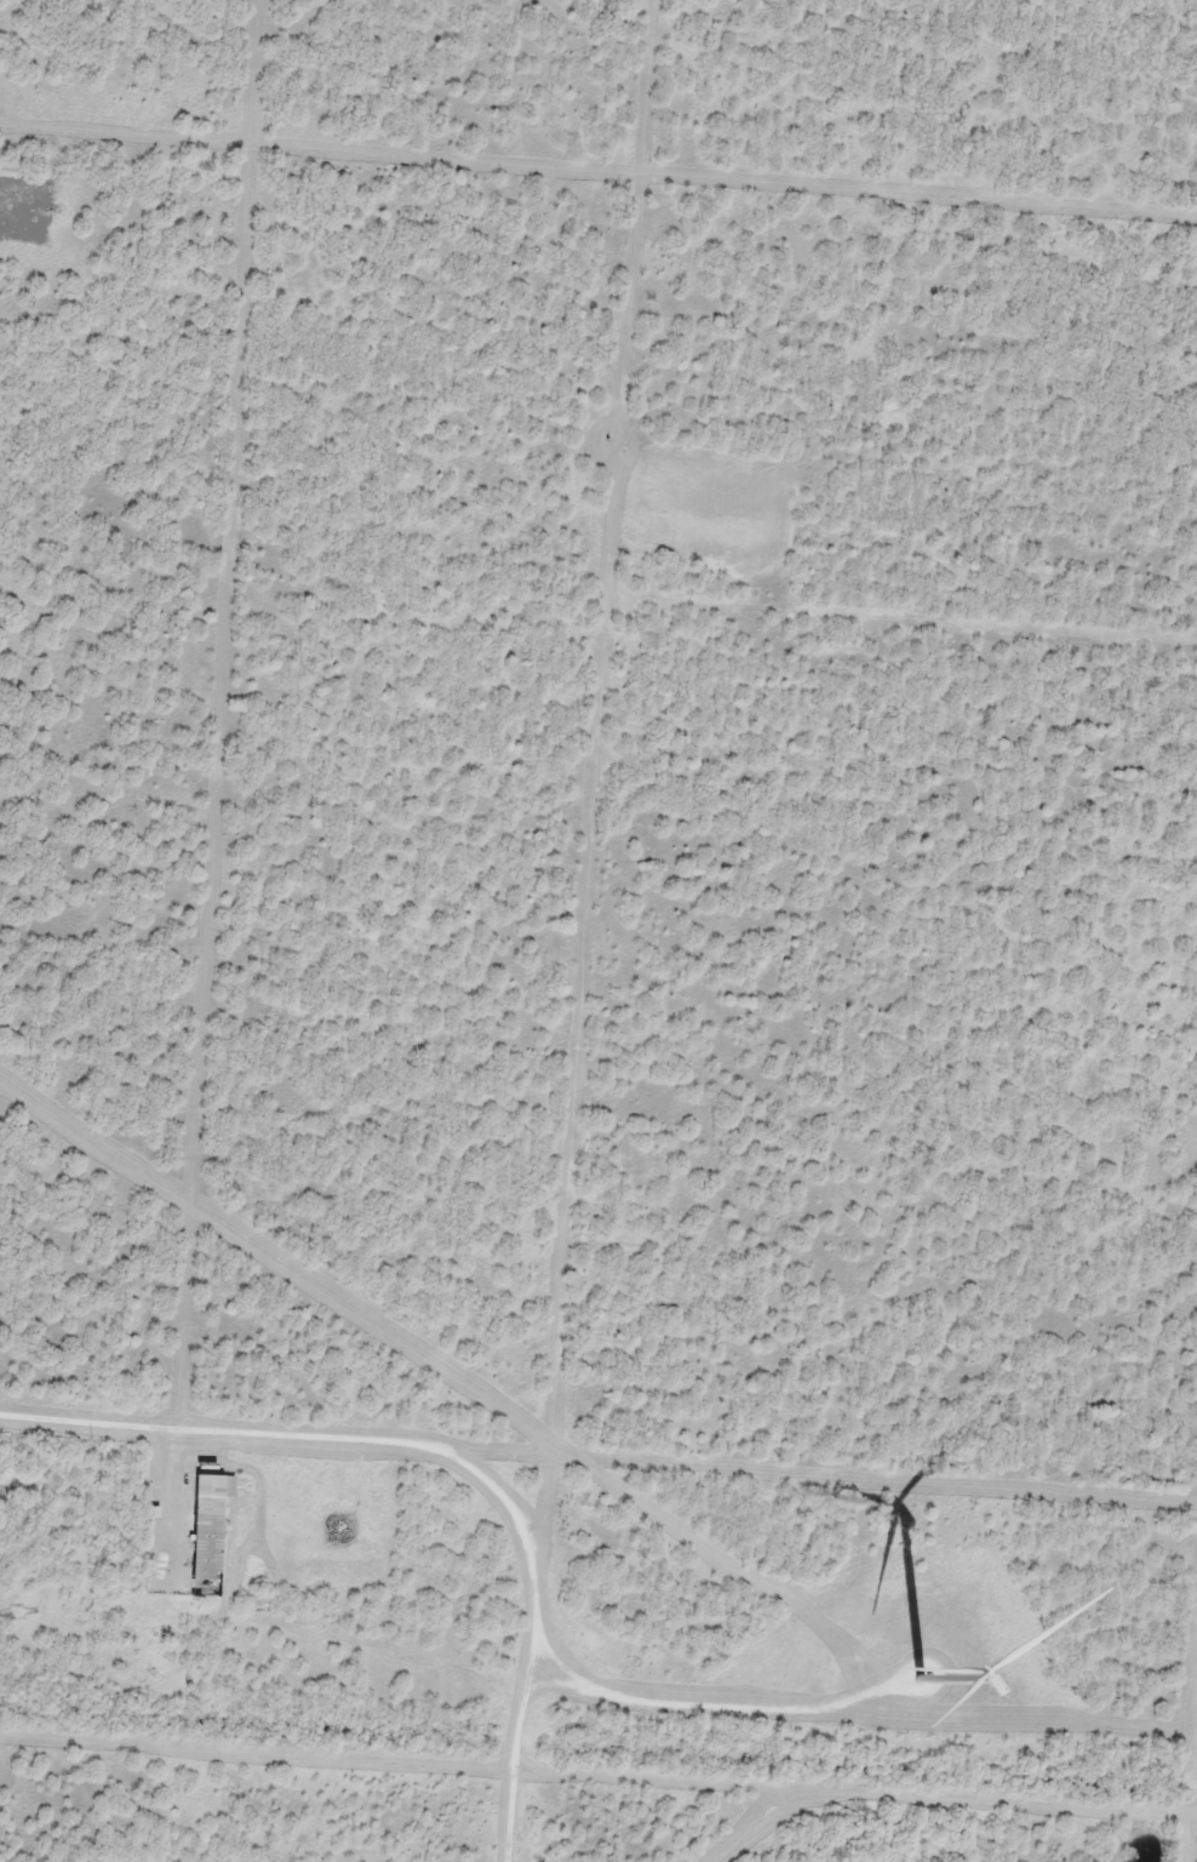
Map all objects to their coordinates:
building: (210, 1485)
building: (211, 1543)
road: (1184, 1607)
road: (598, 1662)
wind turbine: (920, 1679)

